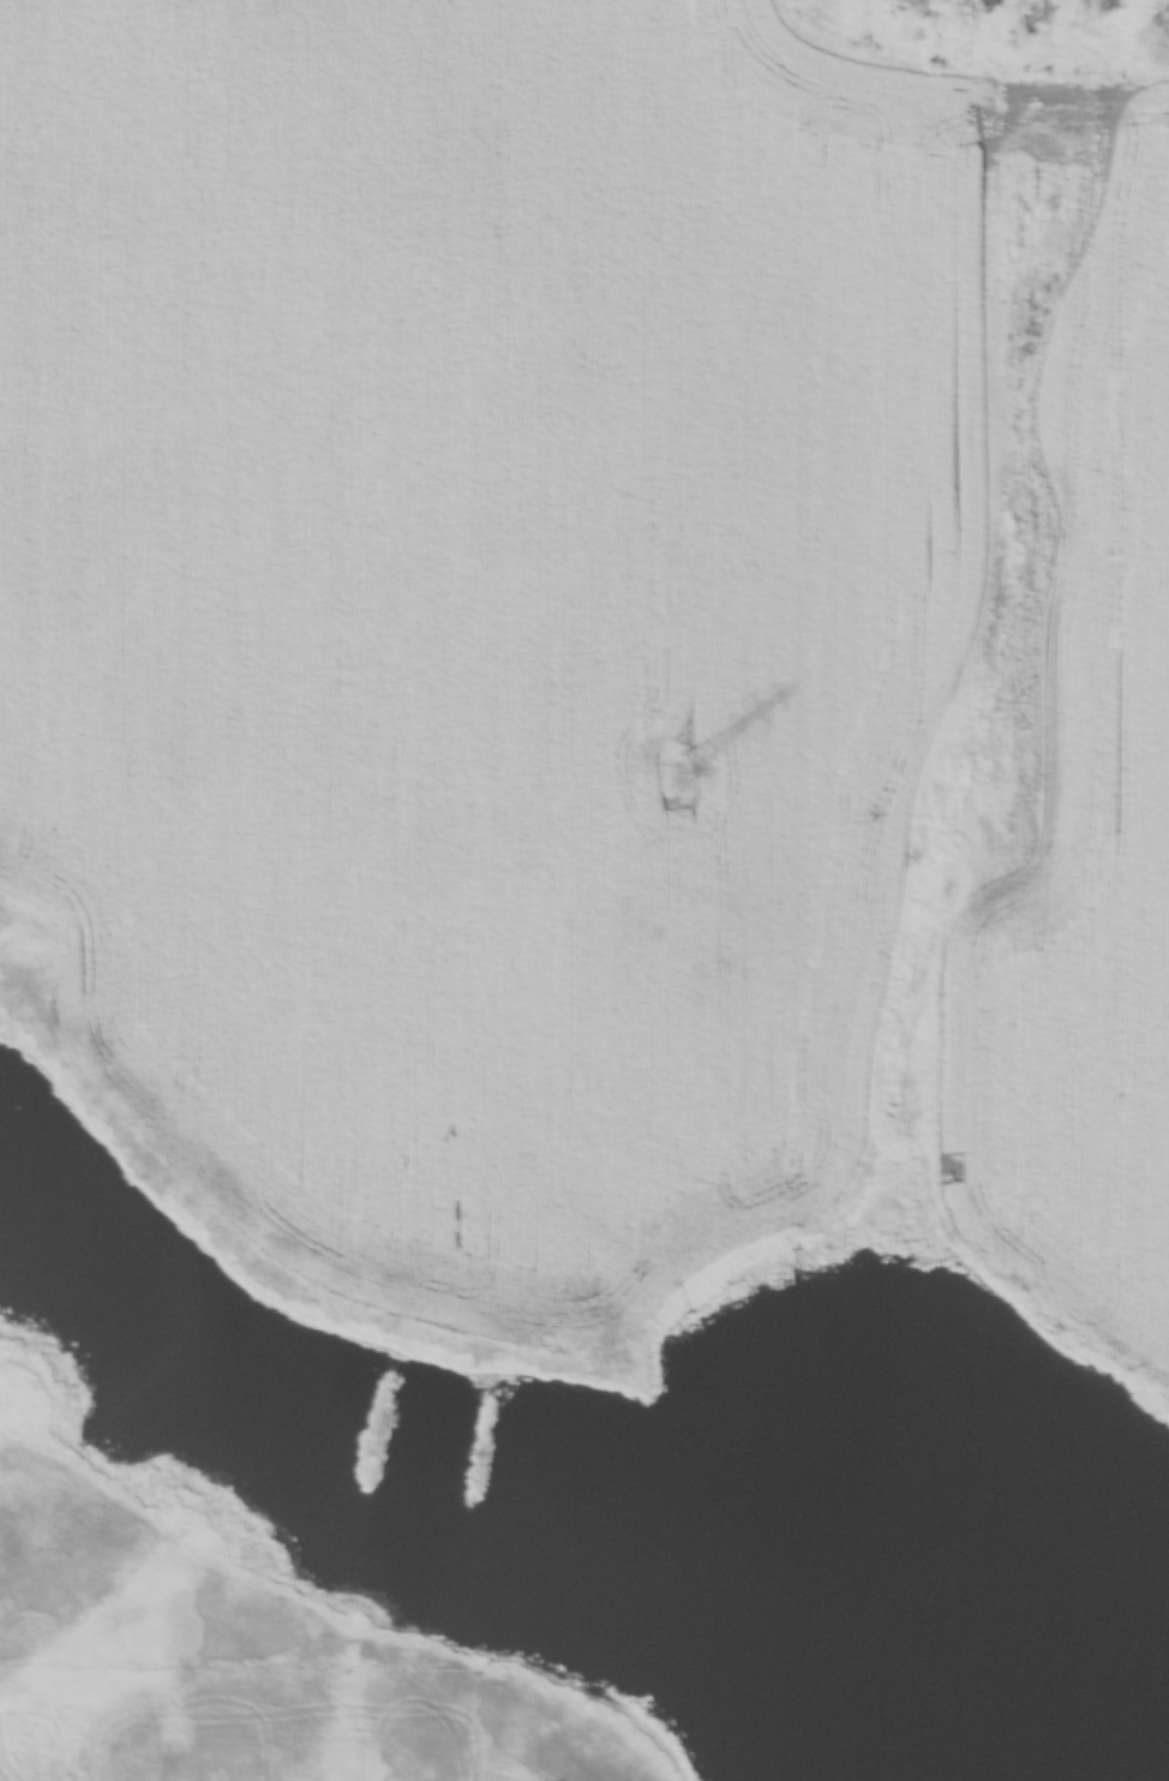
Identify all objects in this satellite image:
power tower: (677, 770)

